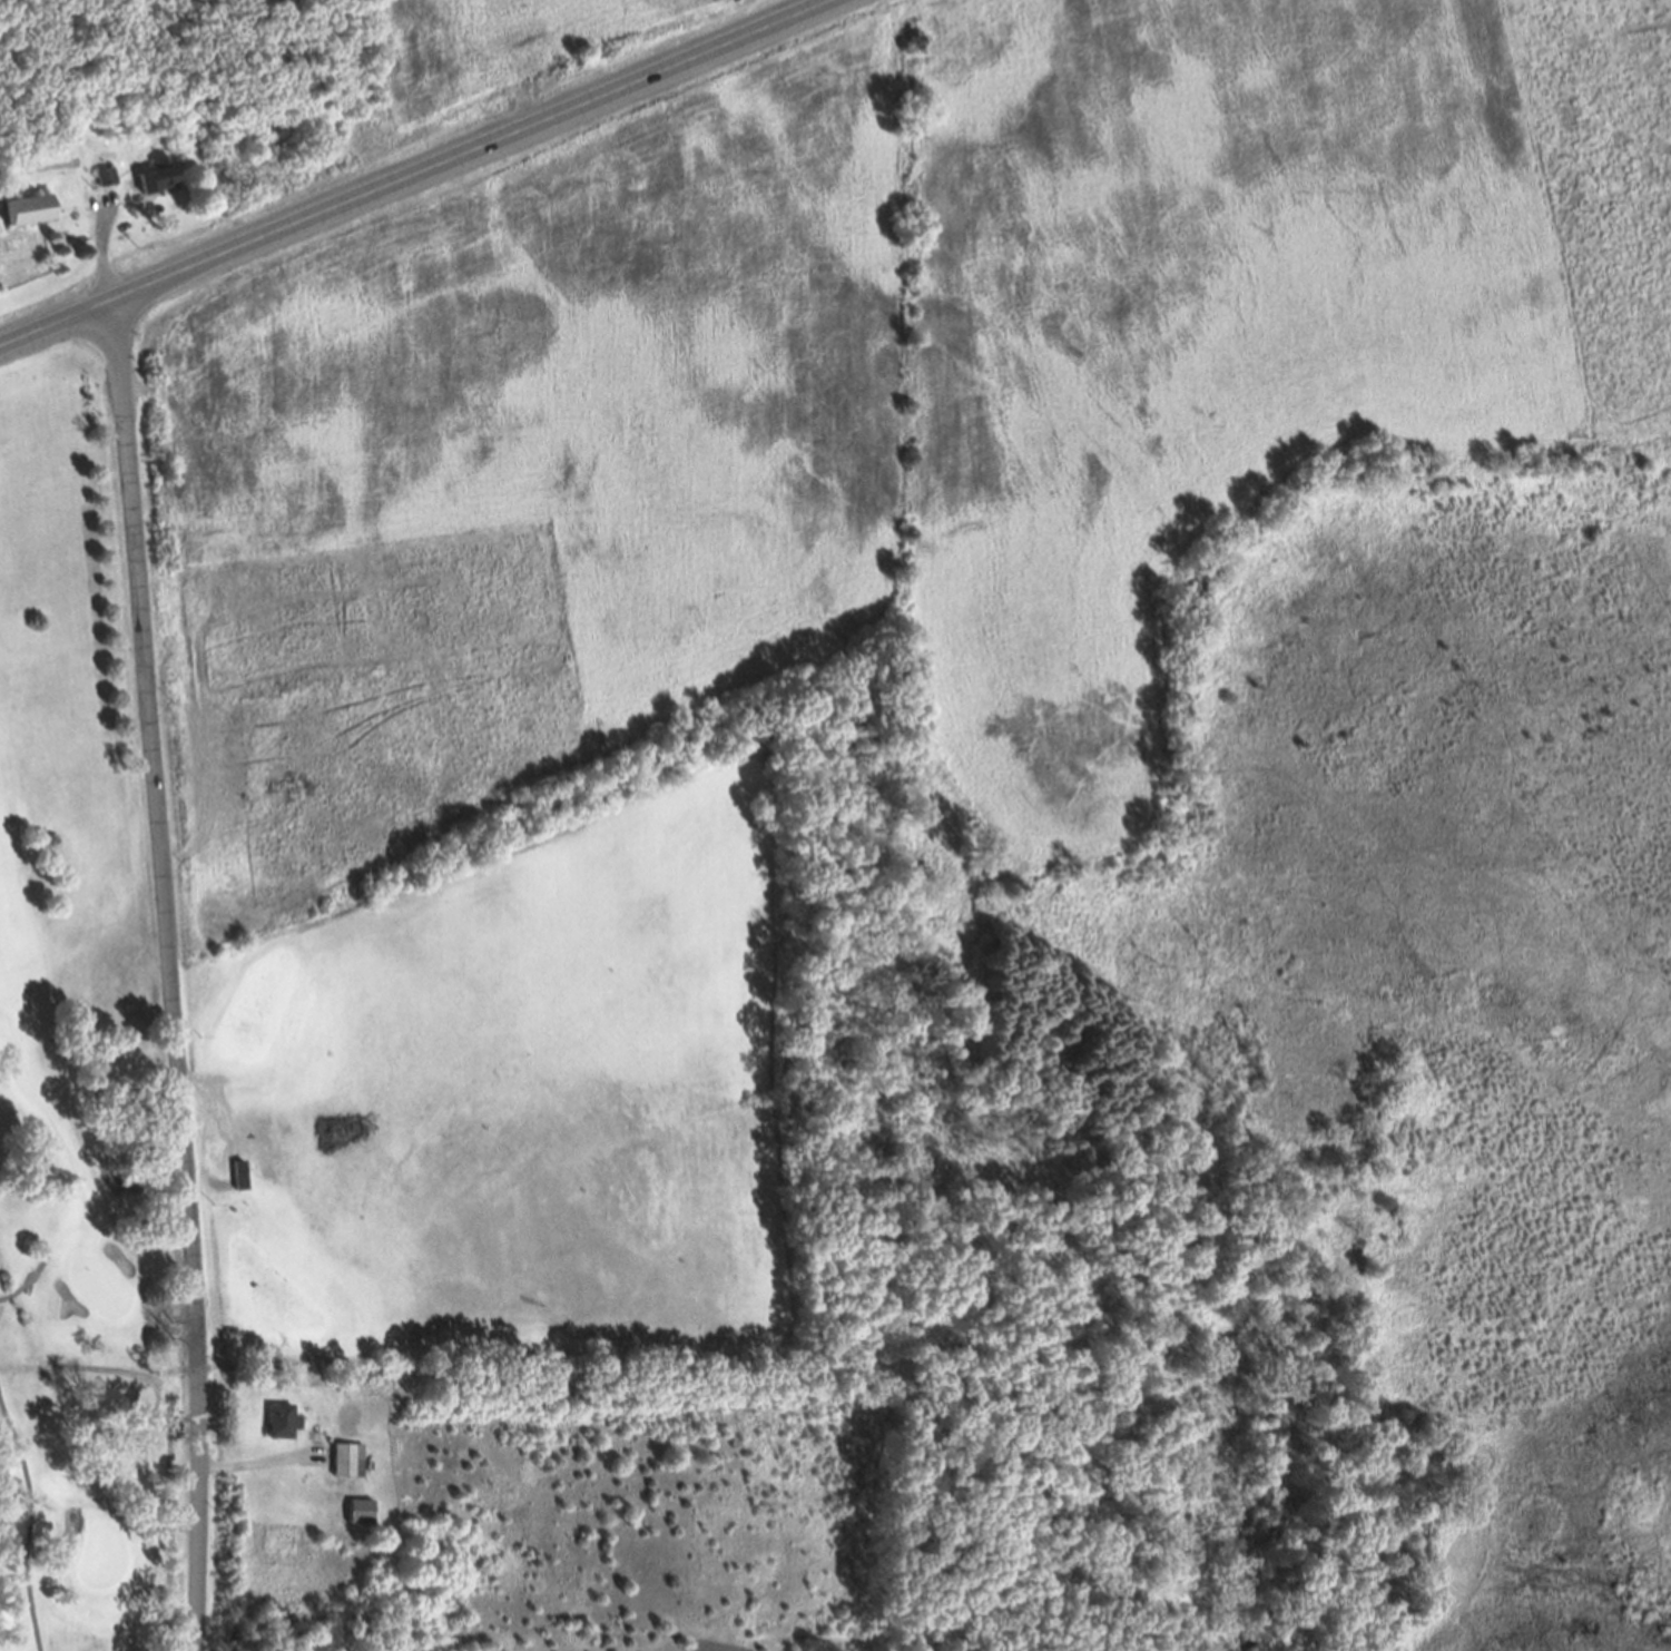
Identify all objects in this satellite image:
road: (416, 174)
building: (105, 185)
building: (157, 185)
building: (23, 218)
road: (169, 975)
building: (281, 1428)
road: (259, 1458)
building: (346, 1468)
building: (358, 1520)

